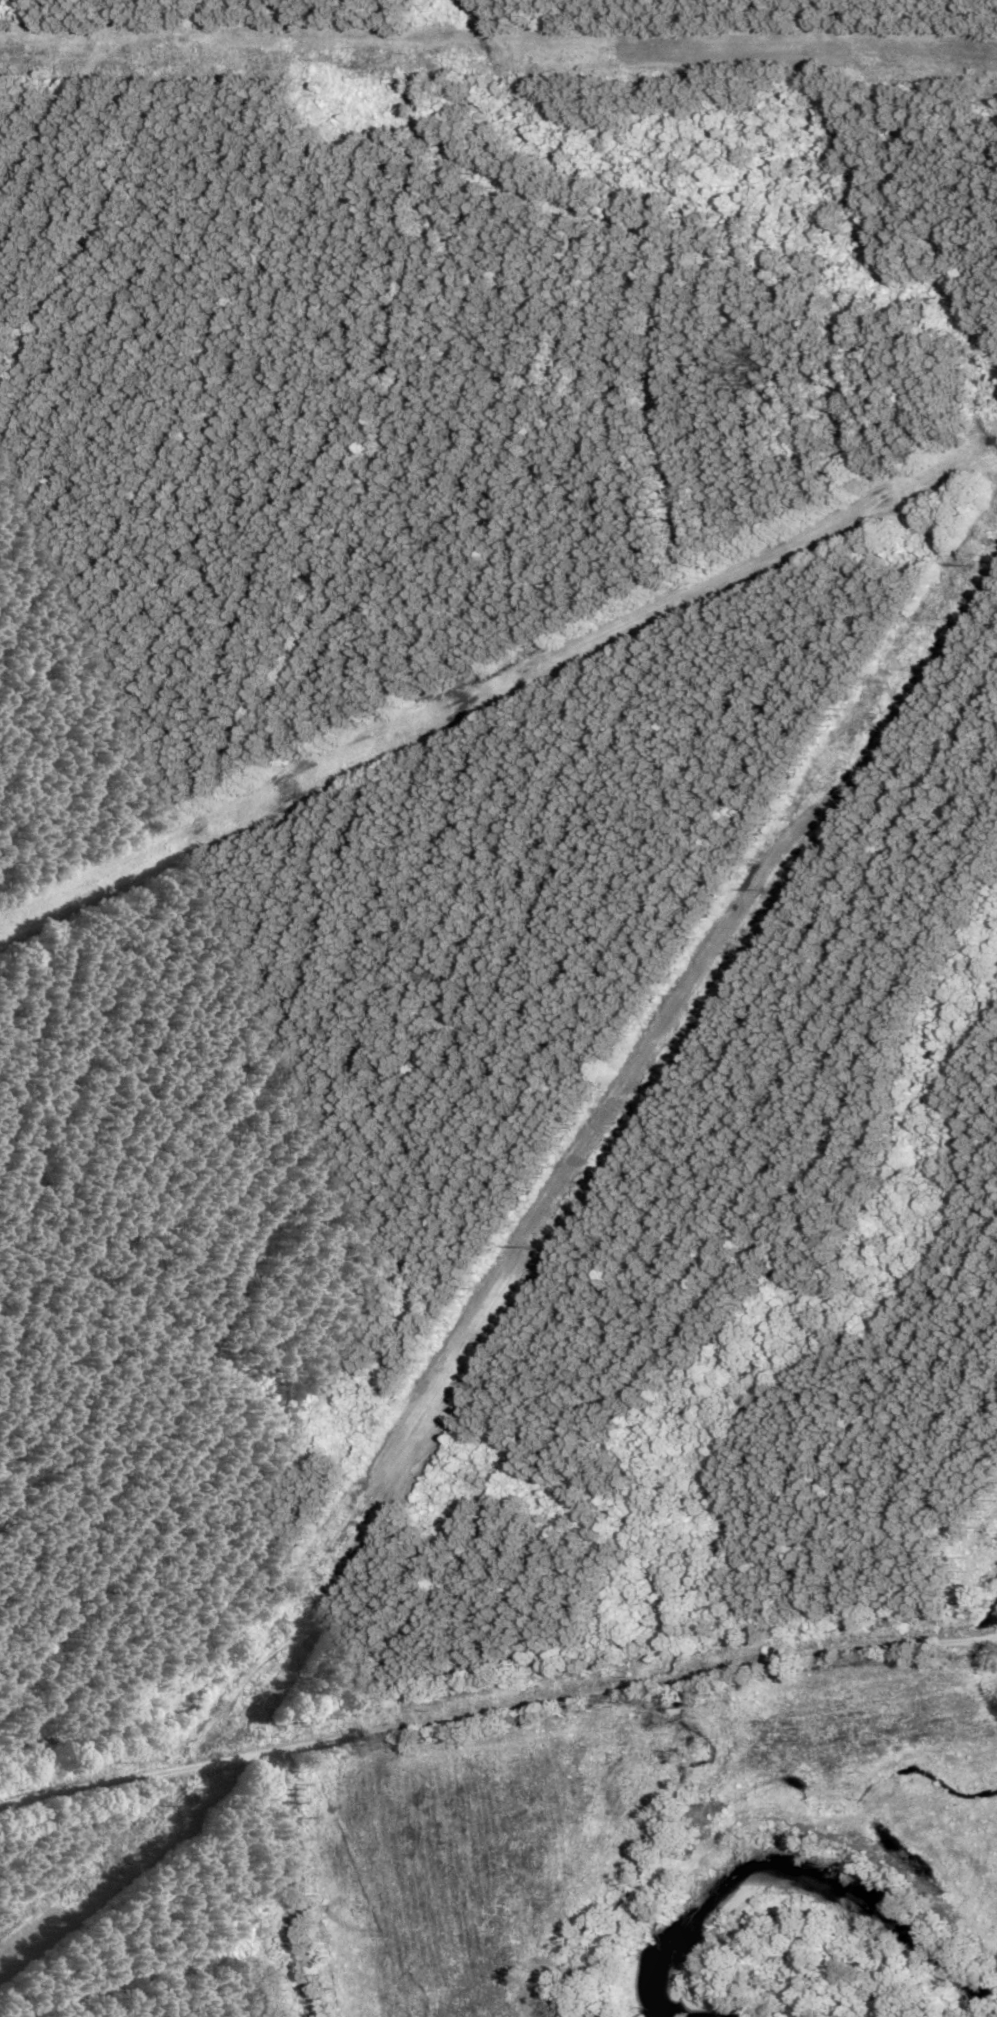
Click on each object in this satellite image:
road: (496, 1710)
river: (794, 1877)
road: (300, 1884)

